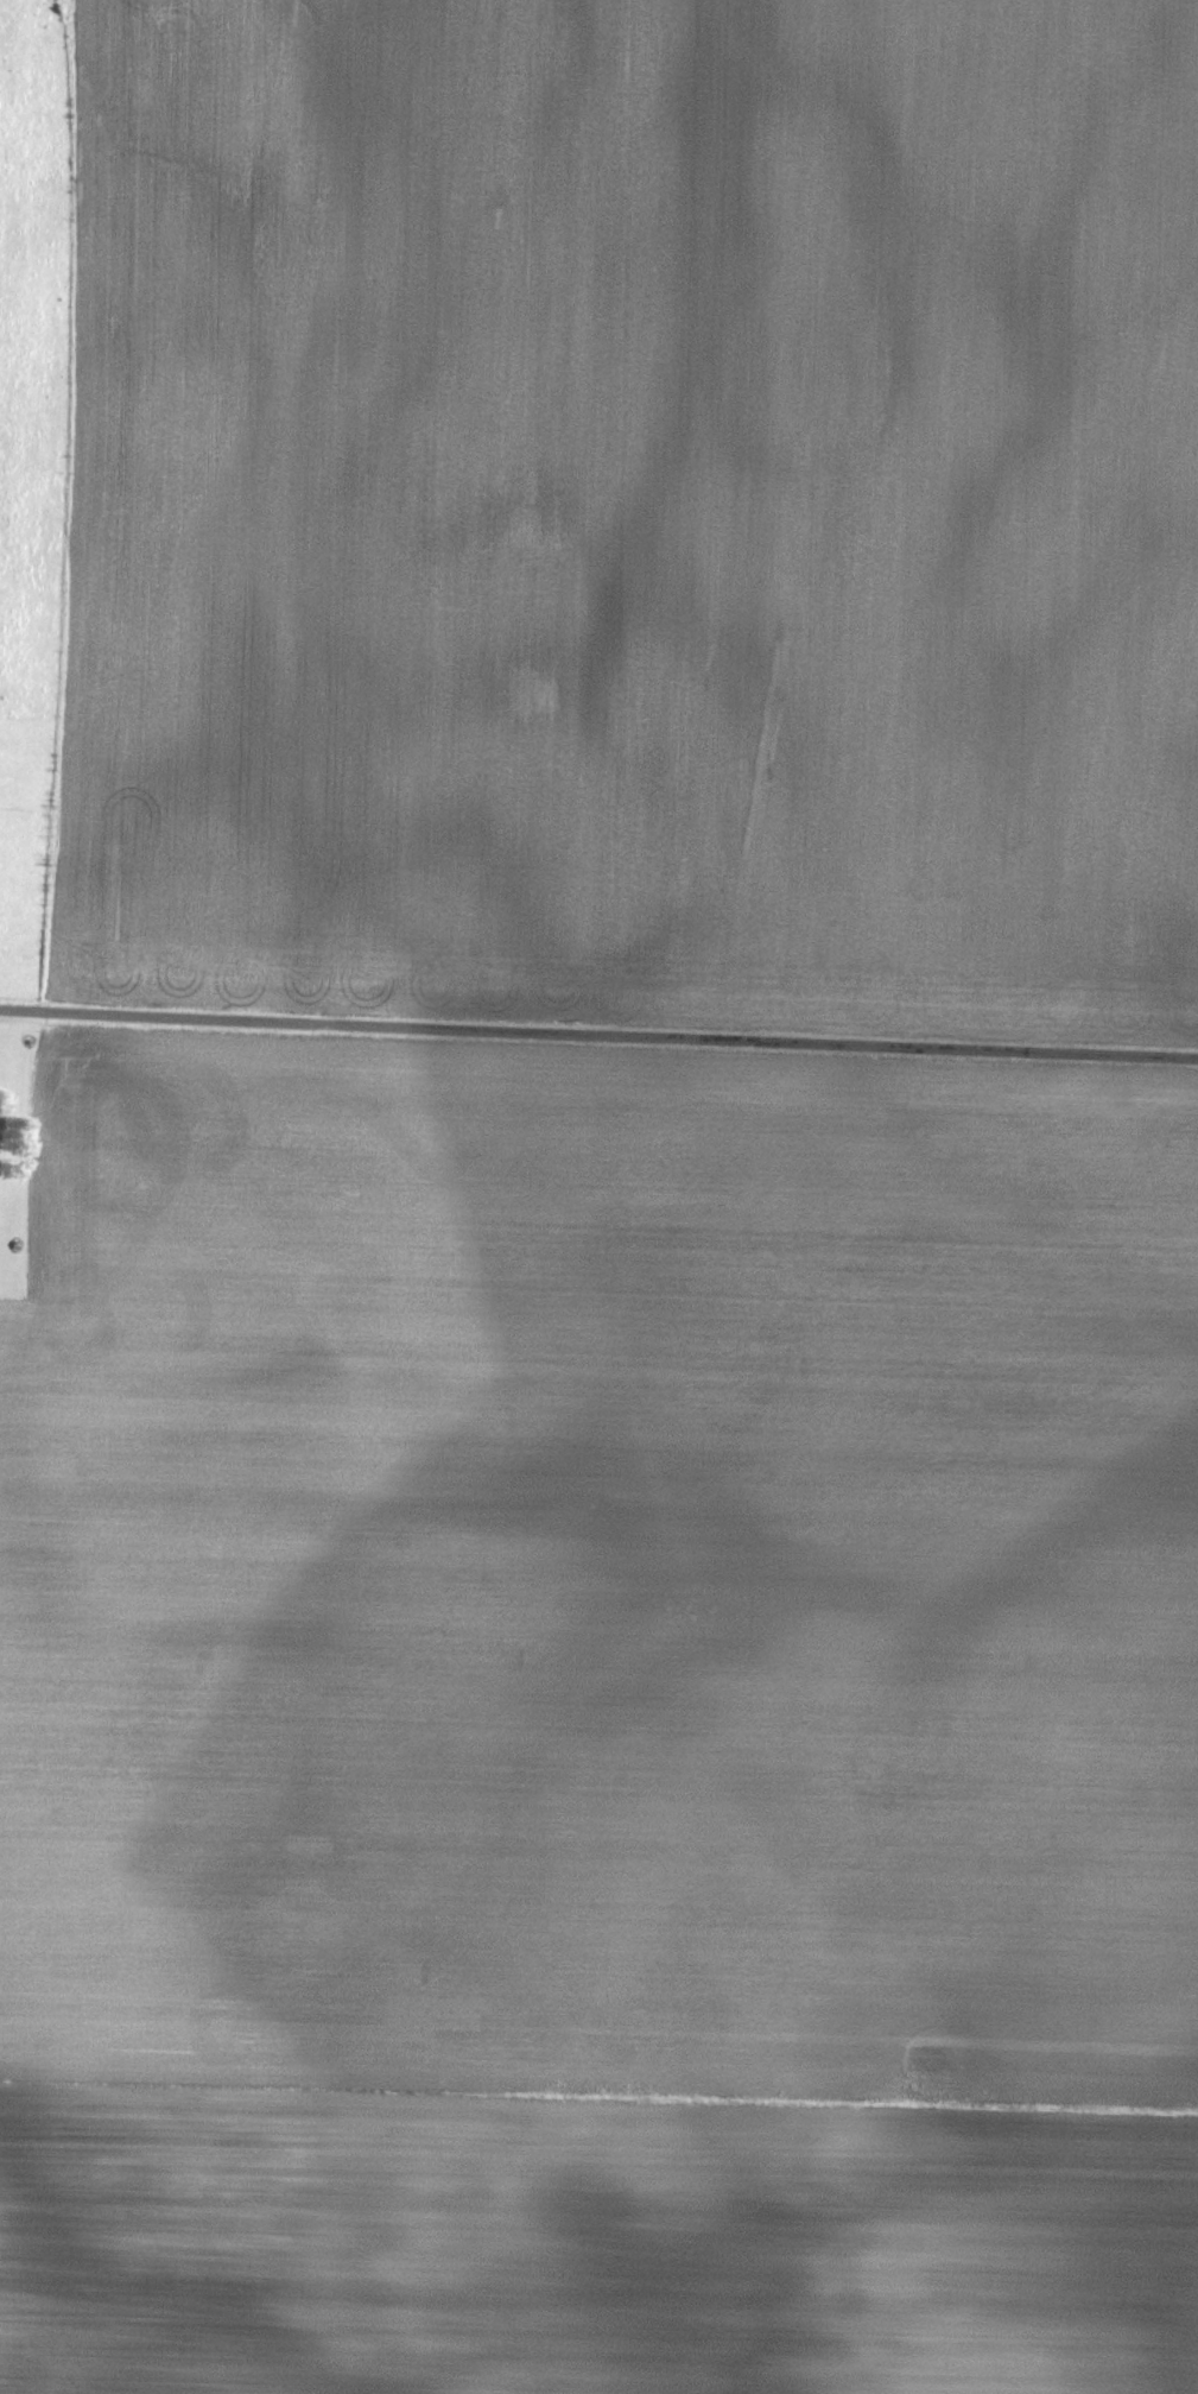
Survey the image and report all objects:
road: (598, 1031)

